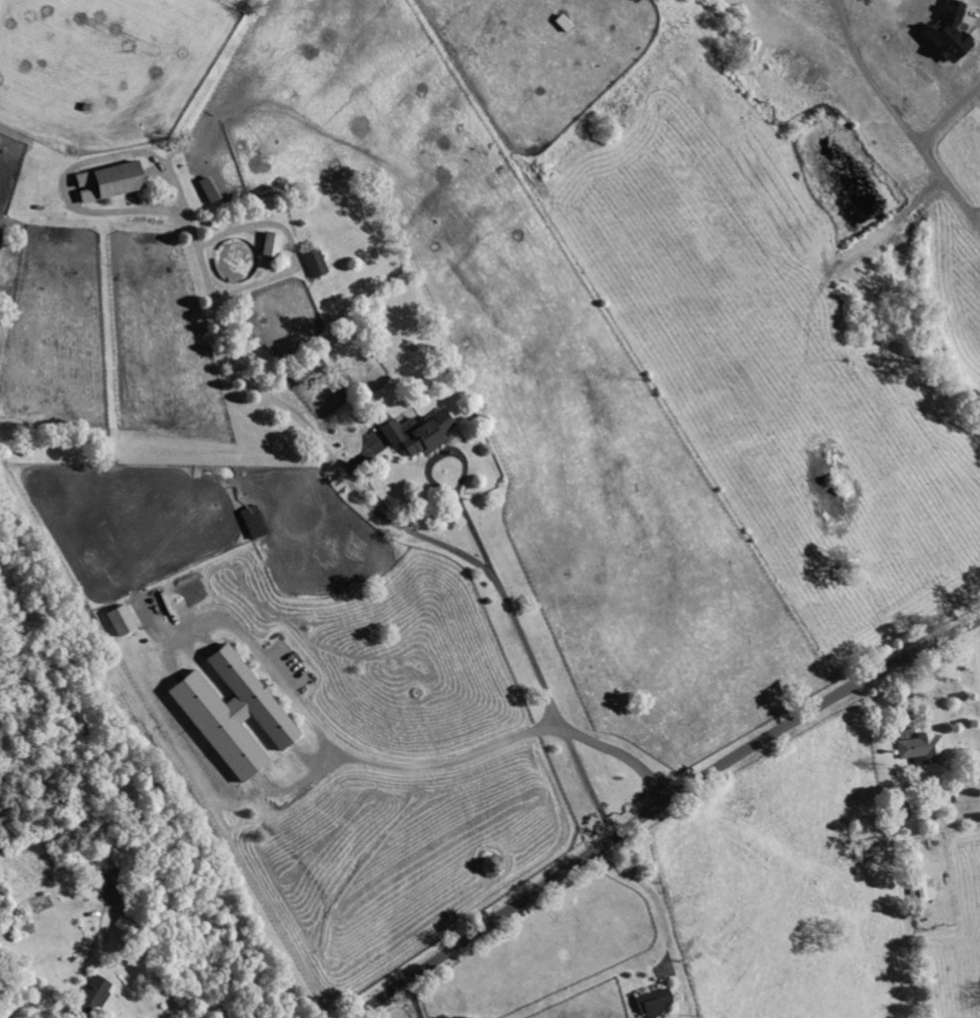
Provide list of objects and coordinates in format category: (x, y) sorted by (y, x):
road: (812, 24)
building: (948, 33)
road: (948, 115)
road: (898, 119)
building: (106, 181)
building: (269, 244)
building: (314, 262)
building: (416, 433)
road: (437, 486)
road: (399, 526)
building: (118, 620)
building: (230, 713)
building: (922, 747)
road: (369, 762)
road: (659, 807)
building: (105, 880)
road: (651, 888)
building: (921, 892)
road: (153, 974)
building: (93, 994)
road: (412, 1000)
building: (652, 1003)

